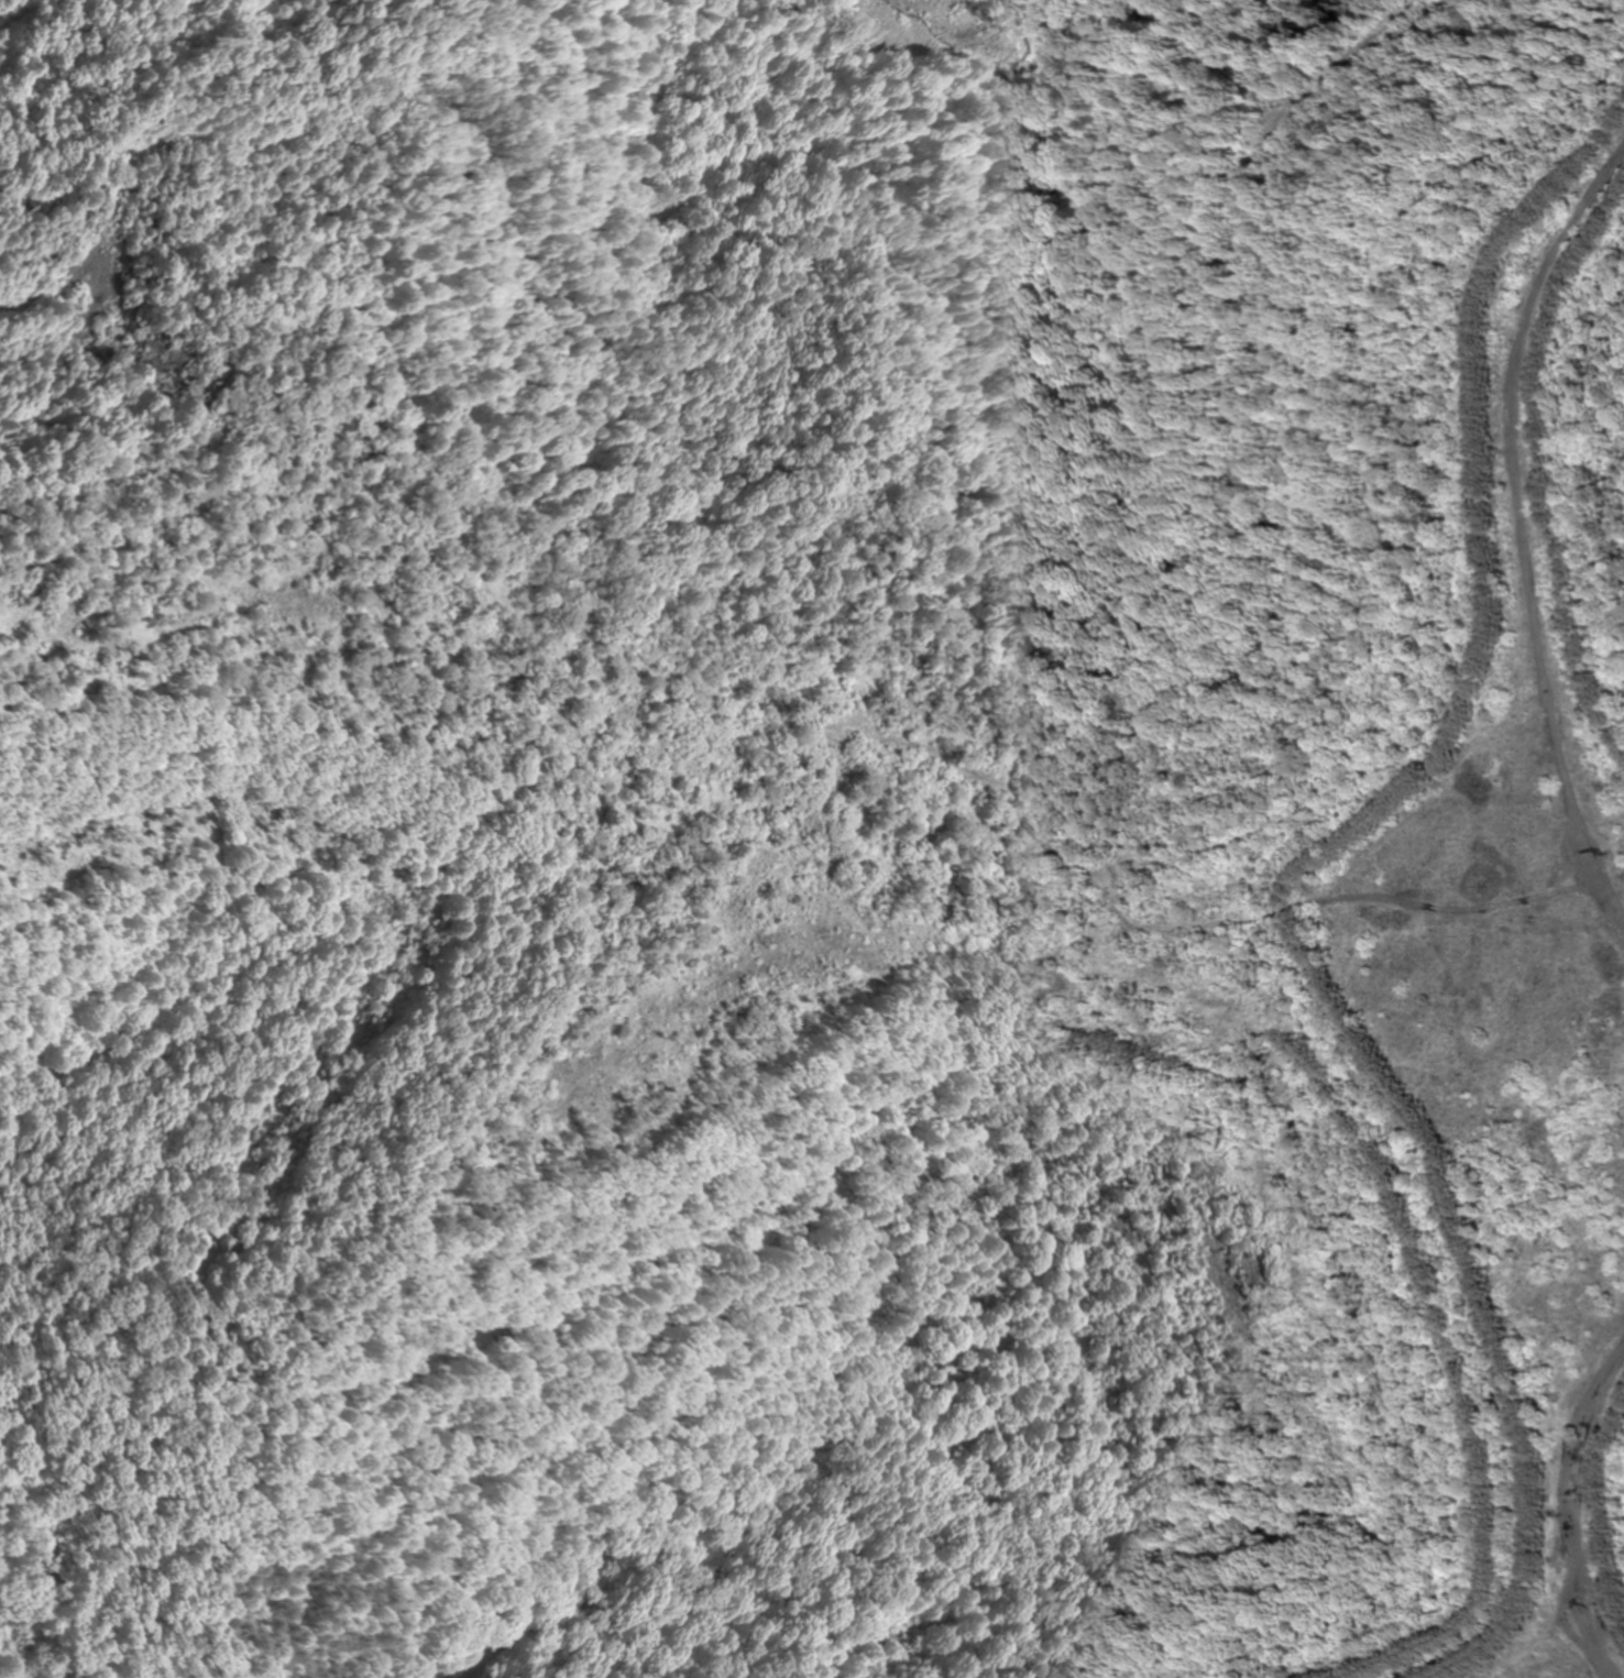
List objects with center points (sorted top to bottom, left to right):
road: (1557, 311)
road: (182, 1222)

